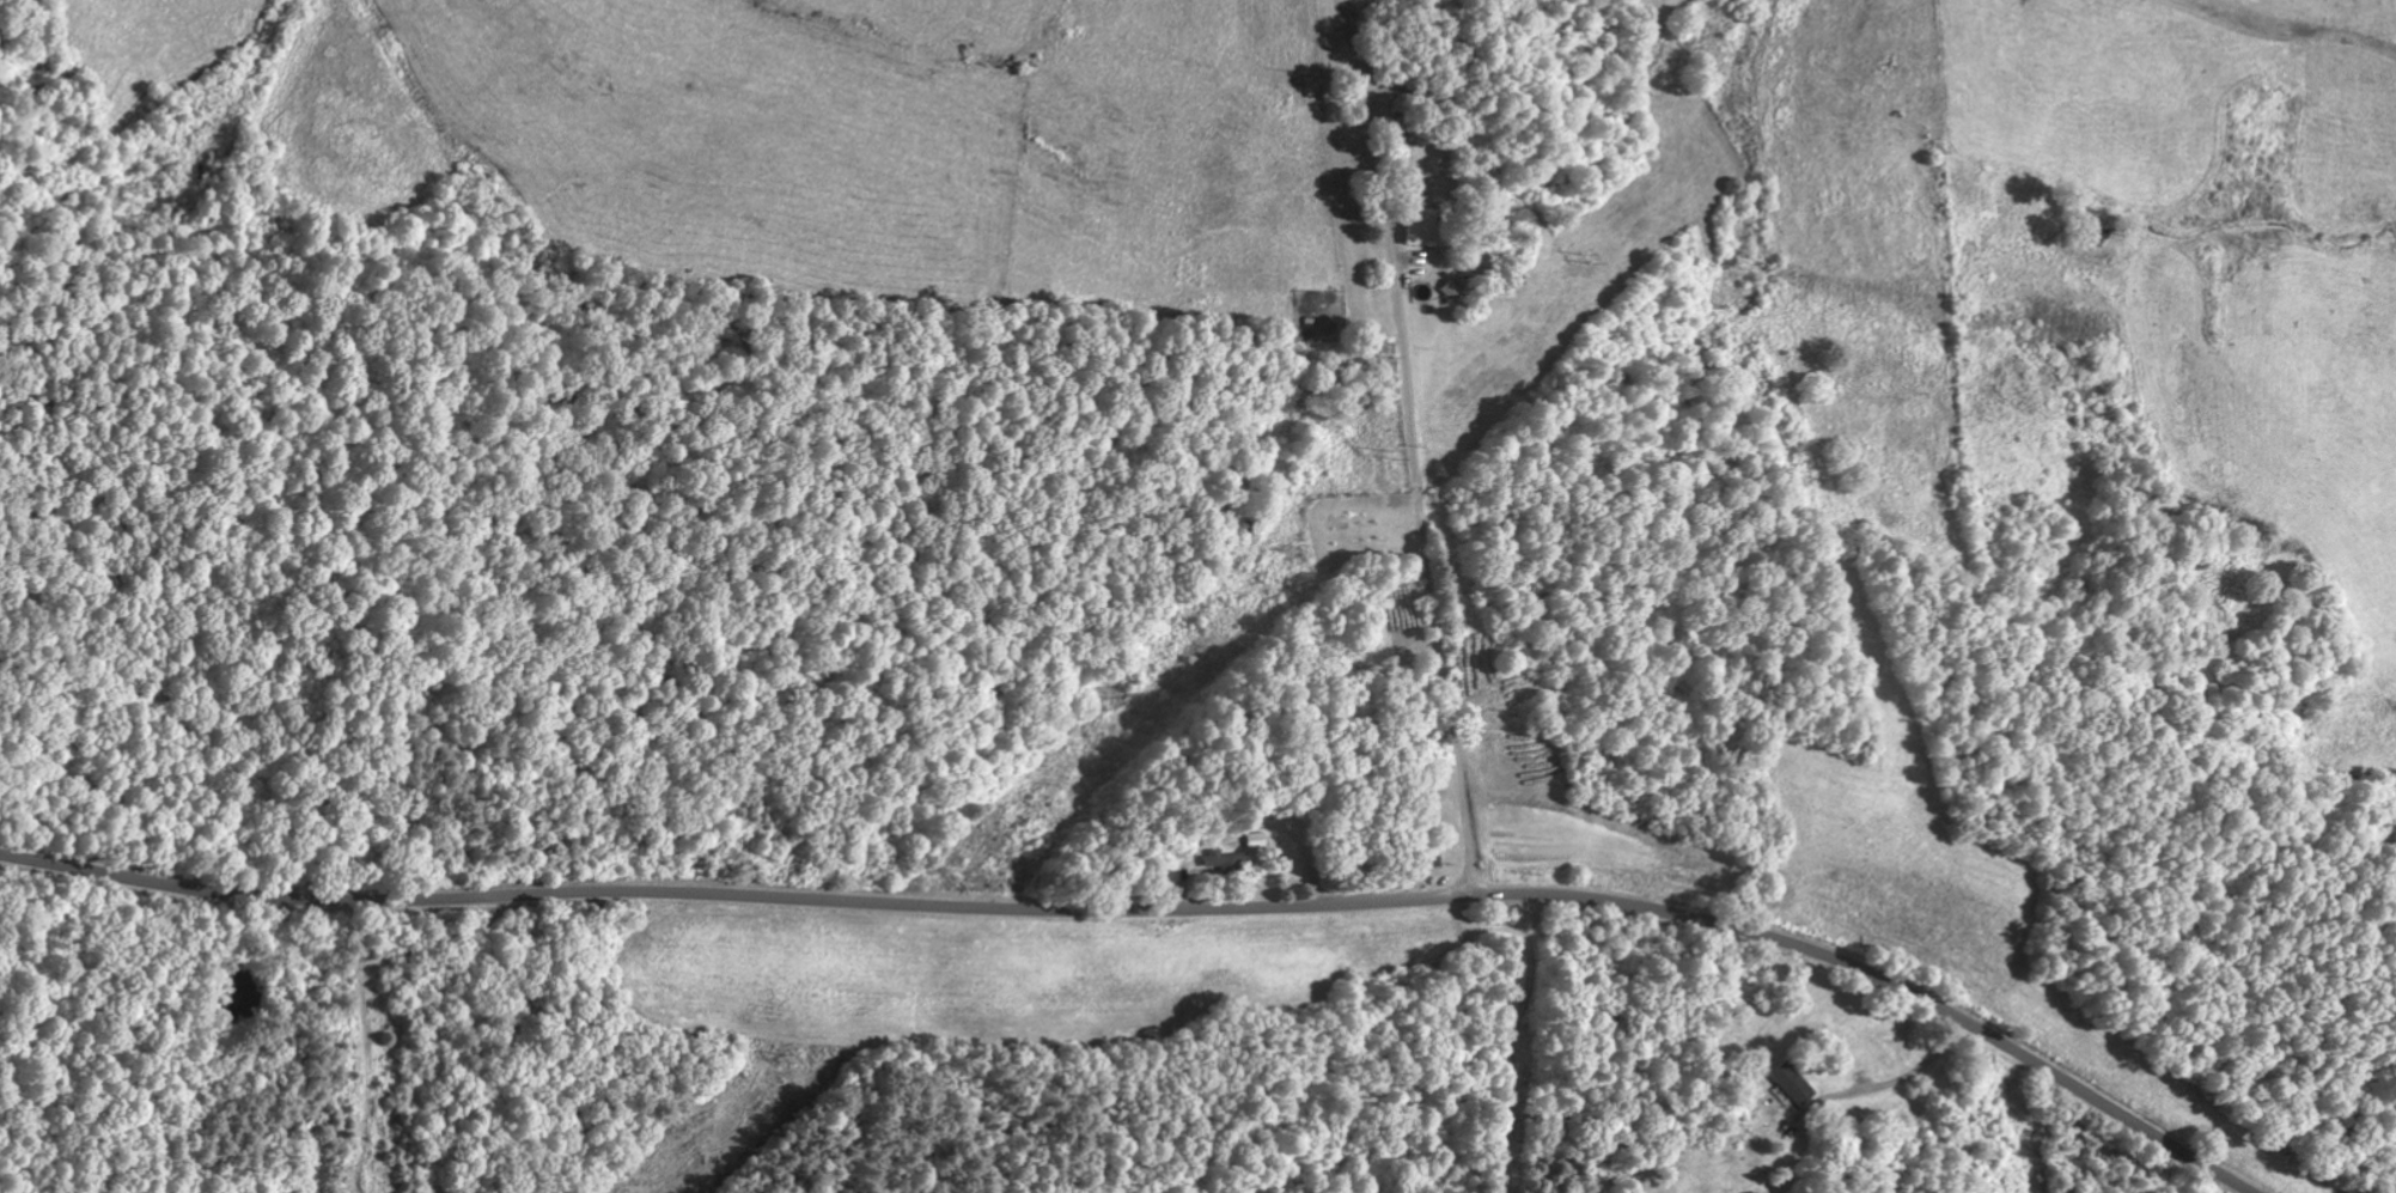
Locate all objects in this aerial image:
road: (1401, 105)
building: (1420, 229)
building: (1449, 290)
road: (1419, 510)
building: (1254, 840)
road: (1159, 908)
building: (1790, 1083)

